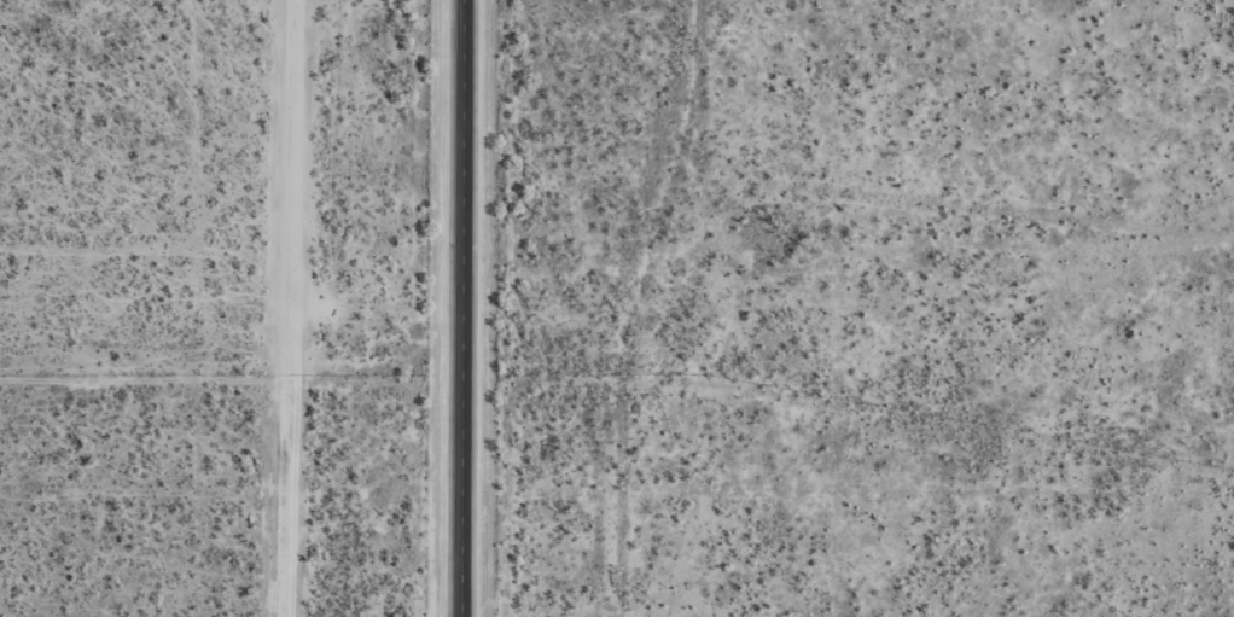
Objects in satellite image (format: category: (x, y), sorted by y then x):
road: (846, 202)
road: (458, 308)

